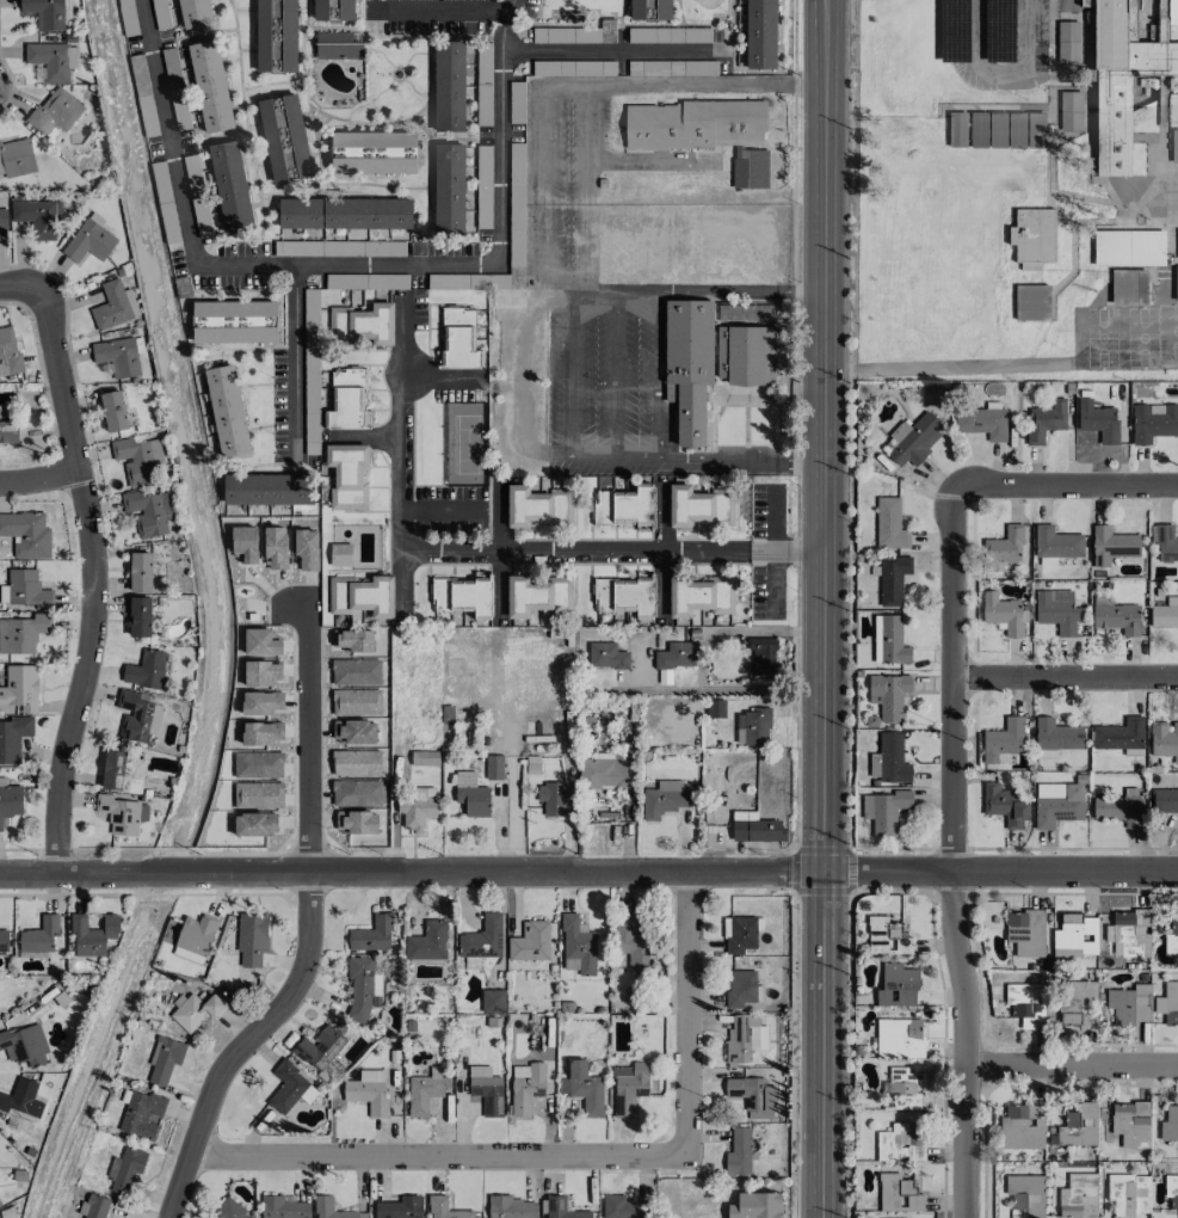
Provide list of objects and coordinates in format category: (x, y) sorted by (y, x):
building: (320, 10)
building: (346, 10)
road: (438, 10)
building: (636, 10)
building: (662, 10)
building: (44, 13)
building: (195, 13)
building: (760, 35)
building: (263, 36)
building: (289, 36)
road: (970, 41)
building: (1068, 41)
road: (878, 42)
road: (924, 42)
building: (337, 44)
road: (613, 50)
building: (51, 60)
road: (851, 76)
road: (987, 81)
road: (683, 85)
building: (210, 86)
building: (449, 86)
road: (964, 93)
building: (1069, 110)
building: (55, 111)
building: (695, 124)
building: (1174, 146)
building: (372, 152)
road: (849, 154)
building: (275, 155)
building: (16, 158)
building: (757, 168)
building: (230, 186)
building: (449, 187)
road: (541, 189)
building: (344, 213)
building: (37, 216)
building: (2, 217)
building: (1032, 238)
building: (88, 241)
building: (1129, 247)
road: (345, 267)
building: (1176, 283)
building: (1129, 287)
road: (20, 288)
road: (599, 291)
road: (742, 293)
building: (1031, 302)
building: (113, 306)
building: (234, 321)
park: (1125, 336)
building: (458, 339)
building: (8, 351)
building: (117, 356)
road: (290, 356)
building: (747, 356)
building: (687, 365)
road: (946, 367)
road: (569, 375)
road: (615, 376)
road: (660, 376)
road: (440, 377)
building: (349, 400)
building: (113, 411)
building: (227, 411)
road: (526, 412)
building: (1044, 420)
building: (1098, 420)
building: (1153, 422)
building: (982, 423)
building: (8, 430)
road: (369, 436)
building: (915, 441)
building: (137, 460)
road: (637, 461)
road: (742, 462)
building: (346, 475)
road: (1063, 476)
road: (38, 481)
building: (267, 490)
building: (537, 506)
building: (625, 507)
building: (699, 507)
road: (451, 510)
building: (148, 511)
road: (499, 519)
building: (889, 524)
building: (26, 535)
building: (1166, 543)
building: (1005, 545)
building: (1055, 545)
building: (1111, 546)
road: (451, 549)
road: (772, 549)
road: (661, 550)
road: (785, 553)
building: (340, 554)
building: (140, 572)
road: (94, 579)
road: (402, 579)
building: (892, 579)
road: (499, 580)
building: (27, 589)
building: (625, 593)
building: (365, 595)
building: (701, 595)
building: (529, 596)
building: (473, 597)
road: (824, 608)
building: (1057, 610)
building: (1004, 614)
building: (1165, 614)
building: (140, 616)
building: (1117, 617)
building: (21, 633)
road: (738, 633)
building: (876, 638)
building: (893, 640)
building: (760, 654)
building: (606, 656)
building: (146, 670)
road: (1061, 672)
building: (20, 687)
road: (723, 689)
building: (888, 695)
building: (716, 705)
building: (137, 716)
building: (752, 727)
building: (1120, 734)
building: (12, 738)
building: (1055, 738)
building: (1164, 738)
building: (1003, 739)
road: (310, 743)
building: (424, 758)
building: (892, 758)
building: (494, 767)
building: (113, 769)
building: (606, 771)
building: (471, 794)
building: (551, 798)
building: (664, 799)
building: (10, 800)
building: (1057, 804)
building: (1006, 805)
building: (417, 807)
building: (1118, 810)
building: (884, 811)
building: (122, 814)
building: (755, 828)
road: (950, 847)
road: (588, 871)
building: (93, 933)
building: (741, 933)
building: (1025, 933)
building: (1129, 933)
building: (371, 934)
building: (39, 935)
building: (887, 936)
building: (1075, 936)
building: (195, 937)
building: (1171, 937)
building: (482, 939)
building: (252, 940)
building: (4, 941)
building: (427, 941)
building: (530, 942)
building: (578, 943)
building: (633, 946)
building: (896, 986)
building: (362, 988)
building: (740, 988)
building: (492, 1001)
building: (1026, 1004)
building: (1129, 1004)
building: (1171, 1004)
building: (1079, 1007)
building: (195, 1011)
road: (686, 1013)
building: (744, 1038)
building: (914, 1038)
road: (246, 1042)
building: (322, 1042)
building: (24, 1045)
building: (164, 1059)
road: (1072, 1064)
building: (289, 1087)
building: (526, 1087)
building: (905, 1087)
building: (582, 1088)
building: (627, 1088)
building: (485, 1090)
building: (368, 1091)
building: (425, 1091)
building: (21, 1097)
building: (751, 1097)
building: (141, 1114)
building: (1078, 1124)
building: (1130, 1124)
building: (1170, 1124)
building: (1020, 1125)
building: (900, 1143)
building: (740, 1152)
road: (438, 1157)
building: (125, 1169)
building: (1171, 1185)
building: (898, 1194)
building: (0, 1205)
building: (755, 1205)
building: (95, 1206)
building: (510, 1206)
building: (283, 1207)
building: (400, 1207)
building: (623, 1207)
building: (332, 1208)
building: (445, 1208)
building: (562, 1208)
building: (228, 1210)

